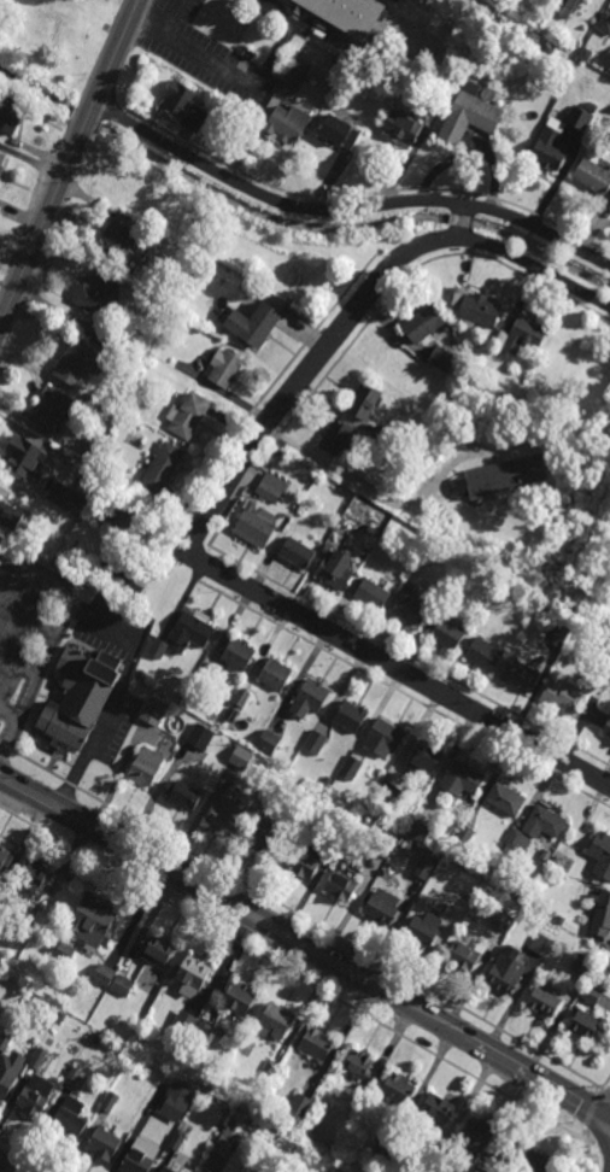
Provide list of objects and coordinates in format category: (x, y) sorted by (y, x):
building: (555, 0)
building: (393, 1)
building: (547, 2)
building: (563, 7)
building: (346, 14)
road: (174, 17)
building: (604, 23)
road: (117, 52)
building: (549, 52)
building: (586, 53)
building: (297, 74)
road: (240, 78)
building: (434, 100)
building: (184, 104)
building: (592, 110)
building: (11, 111)
building: (469, 113)
road: (127, 116)
road: (89, 117)
building: (580, 117)
building: (288, 121)
building: (403, 125)
building: (340, 129)
building: (527, 135)
building: (550, 148)
building: (1, 159)
building: (593, 175)
building: (0, 176)
building: (133, 195)
road: (365, 195)
road: (271, 199)
road: (470, 200)
road: (461, 221)
road: (469, 222)
road: (41, 228)
road: (541, 230)
road: (464, 239)
building: (116, 241)
road: (468, 247)
road: (394, 259)
road: (540, 270)
building: (289, 271)
building: (194, 291)
building: (94, 292)
building: (476, 307)
building: (253, 322)
building: (423, 322)
building: (522, 335)
building: (102, 336)
building: (442, 358)
building: (75, 364)
building: (225, 368)
building: (405, 368)
road: (278, 376)
building: (364, 400)
building: (509, 404)
building: (426, 405)
building: (51, 409)
building: (187, 415)
building: (89, 429)
building: (336, 435)
building: (382, 449)
building: (275, 451)
building: (23, 456)
building: (162, 468)
building: (503, 476)
road: (350, 481)
building: (271, 487)
building: (63, 496)
building: (81, 502)
road: (235, 503)
building: (10, 515)
building: (129, 517)
building: (253, 526)
road: (197, 531)
building: (327, 549)
building: (298, 552)
road: (201, 563)
road: (217, 568)
building: (336, 569)
building: (121, 578)
building: (600, 585)
building: (110, 586)
building: (371, 593)
building: (483, 597)
building: (410, 610)
building: (563, 628)
building: (190, 631)
building: (448, 634)
building: (159, 647)
road: (133, 652)
building: (239, 654)
building: (485, 655)
road: (40, 669)
building: (206, 673)
building: (140, 674)
building: (275, 674)
building: (521, 675)
road: (404, 695)
building: (563, 696)
building: (80, 697)
building: (241, 697)
building: (309, 699)
building: (154, 711)
building: (351, 716)
building: (608, 728)
road: (8, 732)
building: (201, 737)
building: (383, 737)
building: (269, 742)
building: (315, 743)
building: (241, 757)
building: (427, 757)
building: (146, 767)
building: (351, 768)
building: (461, 778)
building: (327, 783)
building: (391, 789)
building: (182, 795)
building: (505, 798)
building: (301, 799)
building: (225, 814)
building: (342, 821)
building: (544, 822)
building: (418, 831)
building: (464, 836)
building: (259, 839)
building: (516, 842)
building: (383, 844)
building: (602, 854)
building: (5, 855)
building: (300, 860)
building: (555, 860)
building: (423, 868)
building: (30, 877)
building: (341, 884)
building: (533, 897)
building: (383, 904)
building: (600, 913)
road: (300, 916)
building: (92, 920)
building: (500, 920)
building: (24, 927)
building: (421, 931)
building: (540, 944)
road: (304, 945)
building: (154, 949)
building: (65, 950)
building: (463, 955)
building: (582, 966)
building: (193, 972)
building: (504, 973)
building: (104, 974)
road: (295, 975)
building: (122, 985)
building: (591, 994)
building: (240, 997)
building: (544, 1001)
building: (61, 1015)
building: (275, 1020)
building: (585, 1024)
building: (190, 1027)
building: (95, 1038)
building: (5, 1039)
building: (317, 1043)
building: (39, 1056)
building: (270, 1068)
building: (362, 1070)
building: (78, 1076)
building: (6, 1078)
road: (605, 1083)
building: (398, 1089)
road: (605, 1091)
building: (36, 1096)
building: (110, 1101)
building: (300, 1103)
road: (592, 1108)
building: (435, 1111)
building: (70, 1118)
building: (143, 1120)
building: (253, 1124)
building: (228, 1133)
building: (475, 1135)
building: (176, 1141)
building: (104, 1142)
road: (600, 1148)
road: (583, 1149)
building: (380, 1154)
building: (527, 1158)
building: (137, 1160)
building: (429, 1160)
road: (8, 1167)
building: (171, 1167)
building: (245, 1171)

